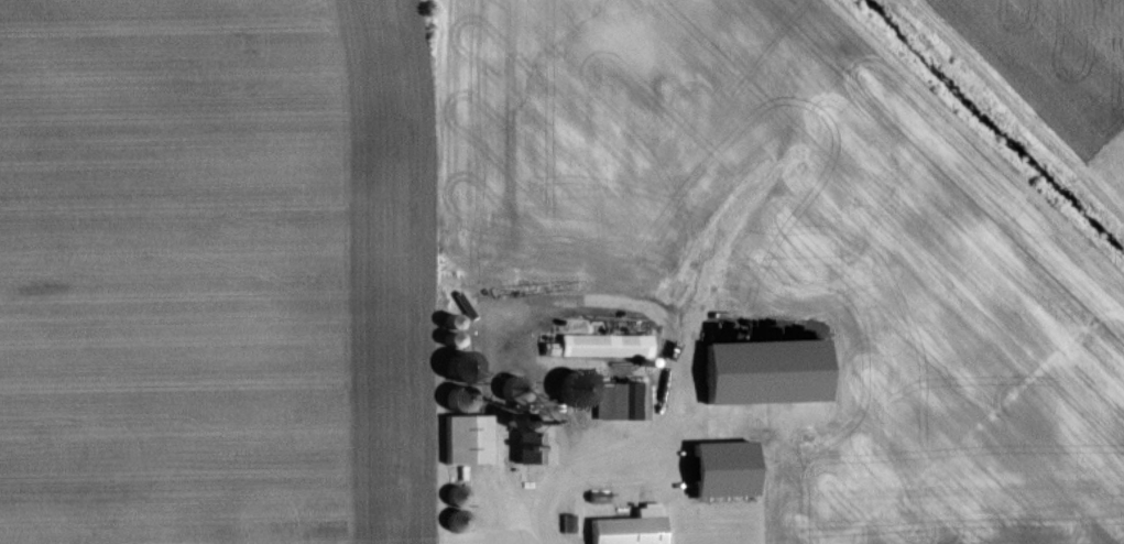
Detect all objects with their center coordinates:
building: (604, 346)
building: (763, 372)
building: (604, 398)
road: (637, 437)
building: (630, 527)

